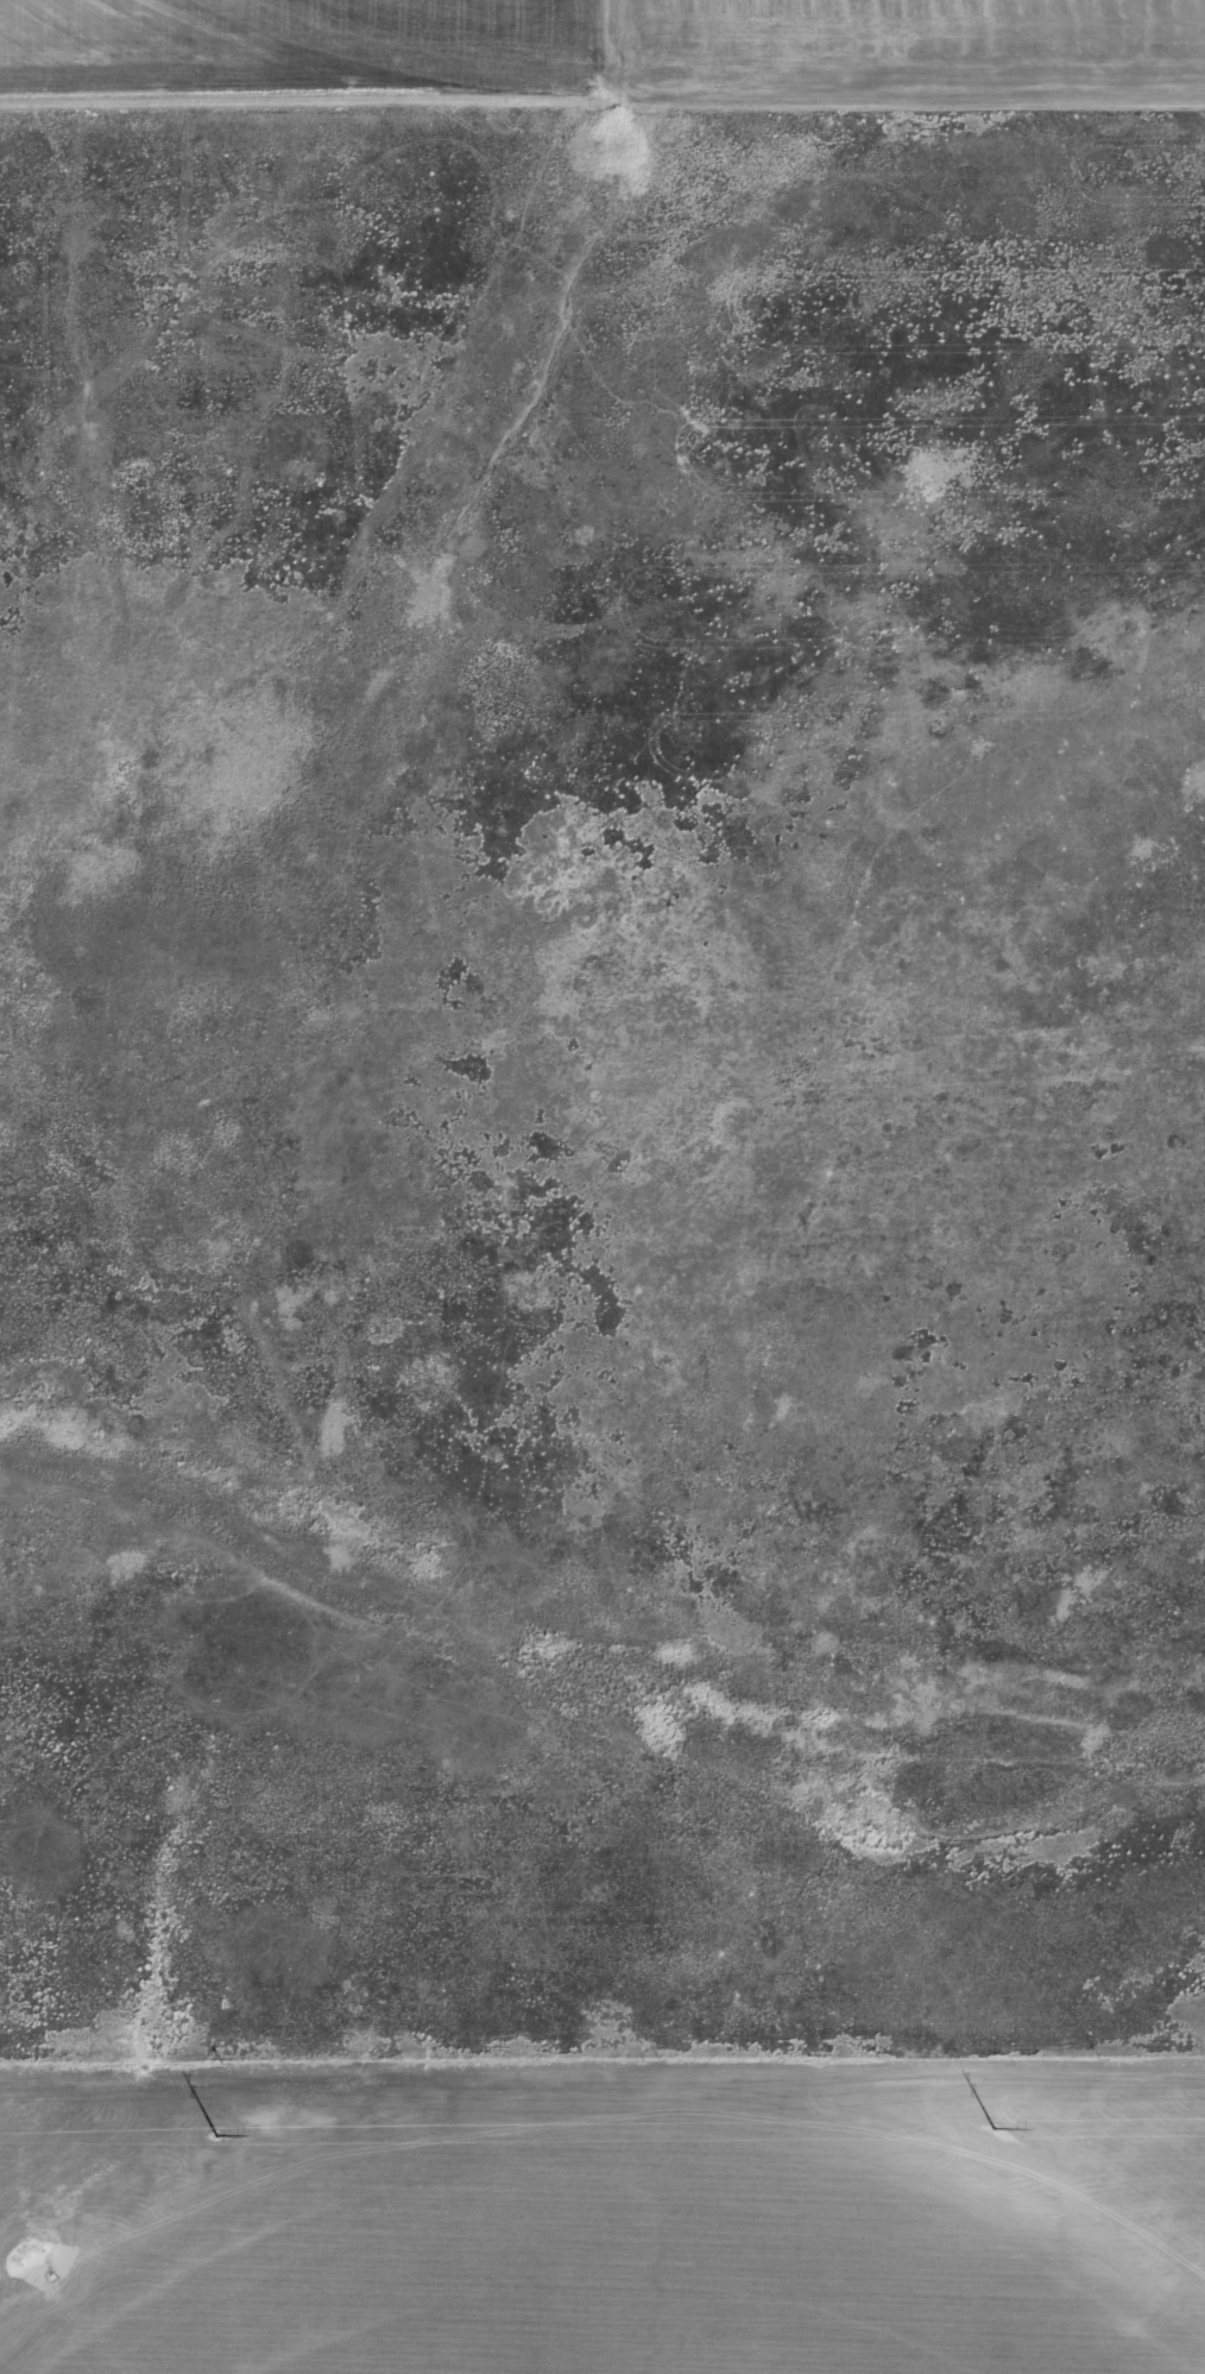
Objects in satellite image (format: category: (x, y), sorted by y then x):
power tower: (997, 2131)
power tower: (219, 2140)

